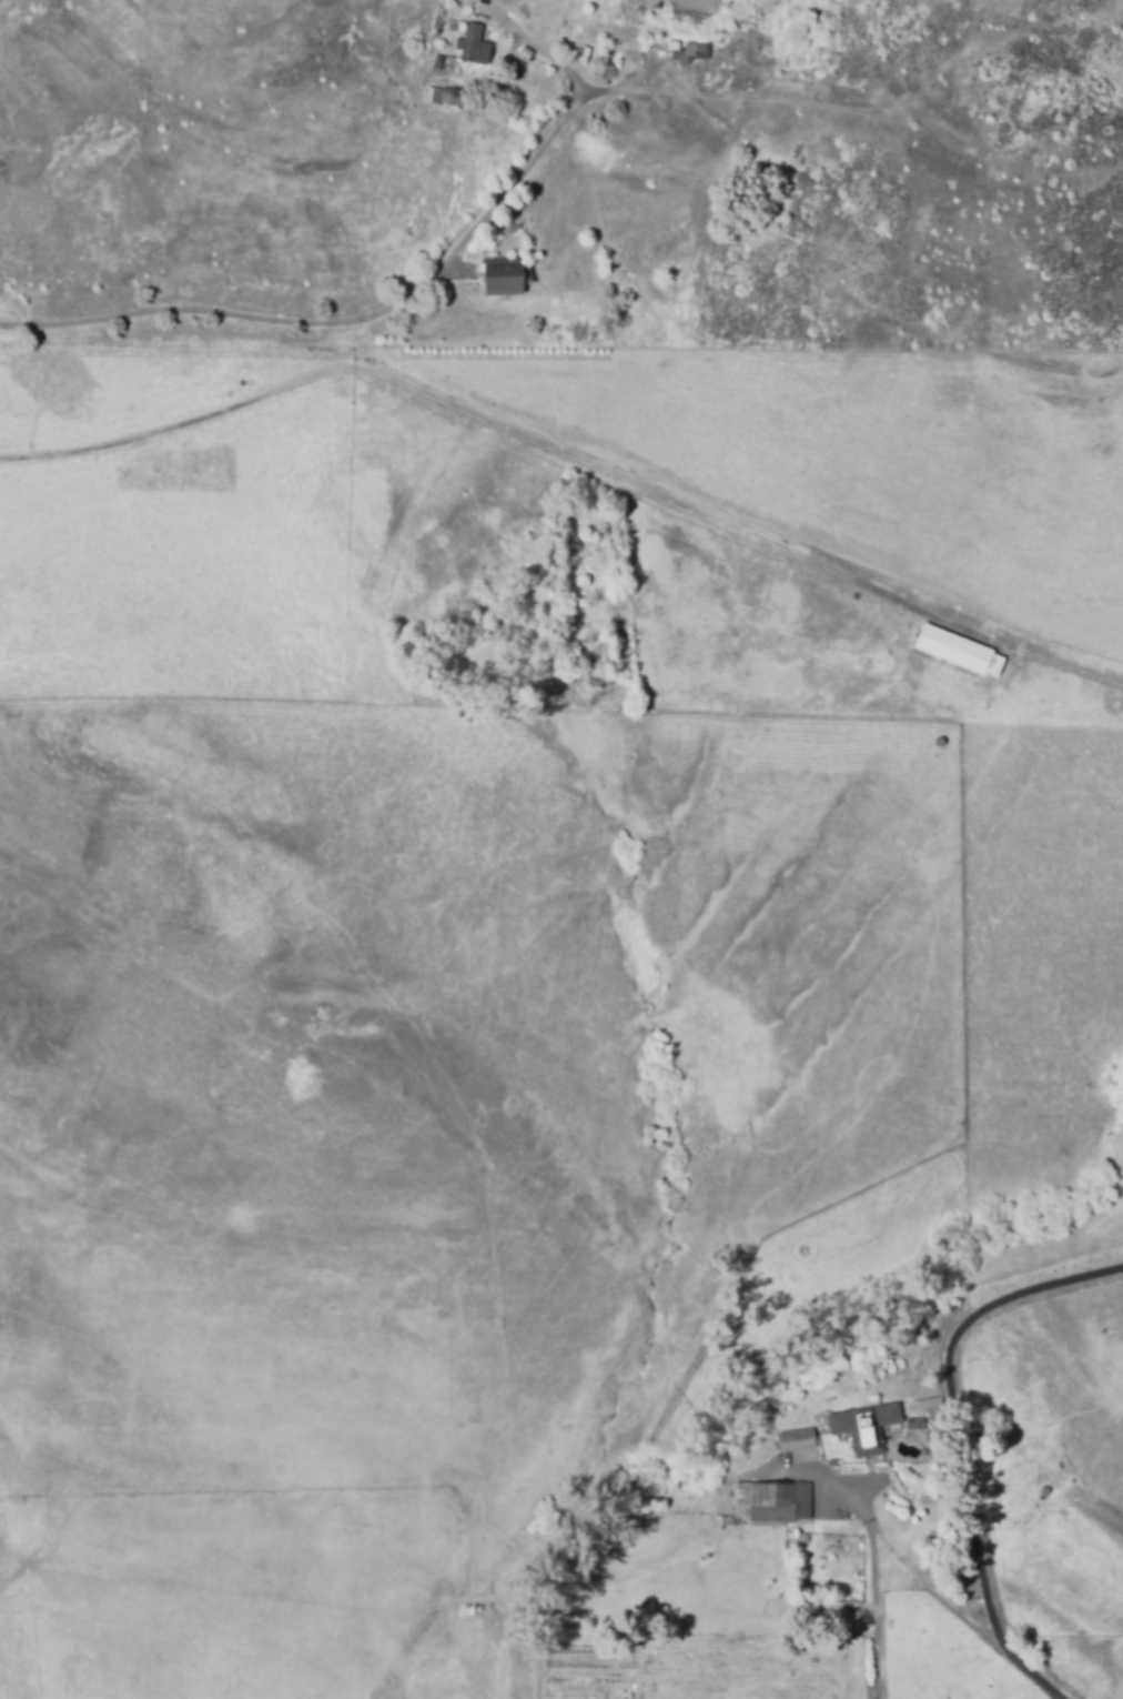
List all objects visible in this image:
building: (478, 46)
building: (687, 53)
road: (553, 56)
building: (455, 97)
building: (504, 277)
building: (540, 278)
road: (366, 319)
building: (960, 650)
building: (871, 1428)
road: (963, 1440)
building: (801, 1442)
building: (779, 1502)
road: (869, 1584)
road: (927, 1588)
building: (745, 1652)
building: (743, 1668)
building: (840, 1670)
building: (640, 1673)
building: (742, 1683)
building: (737, 1697)

